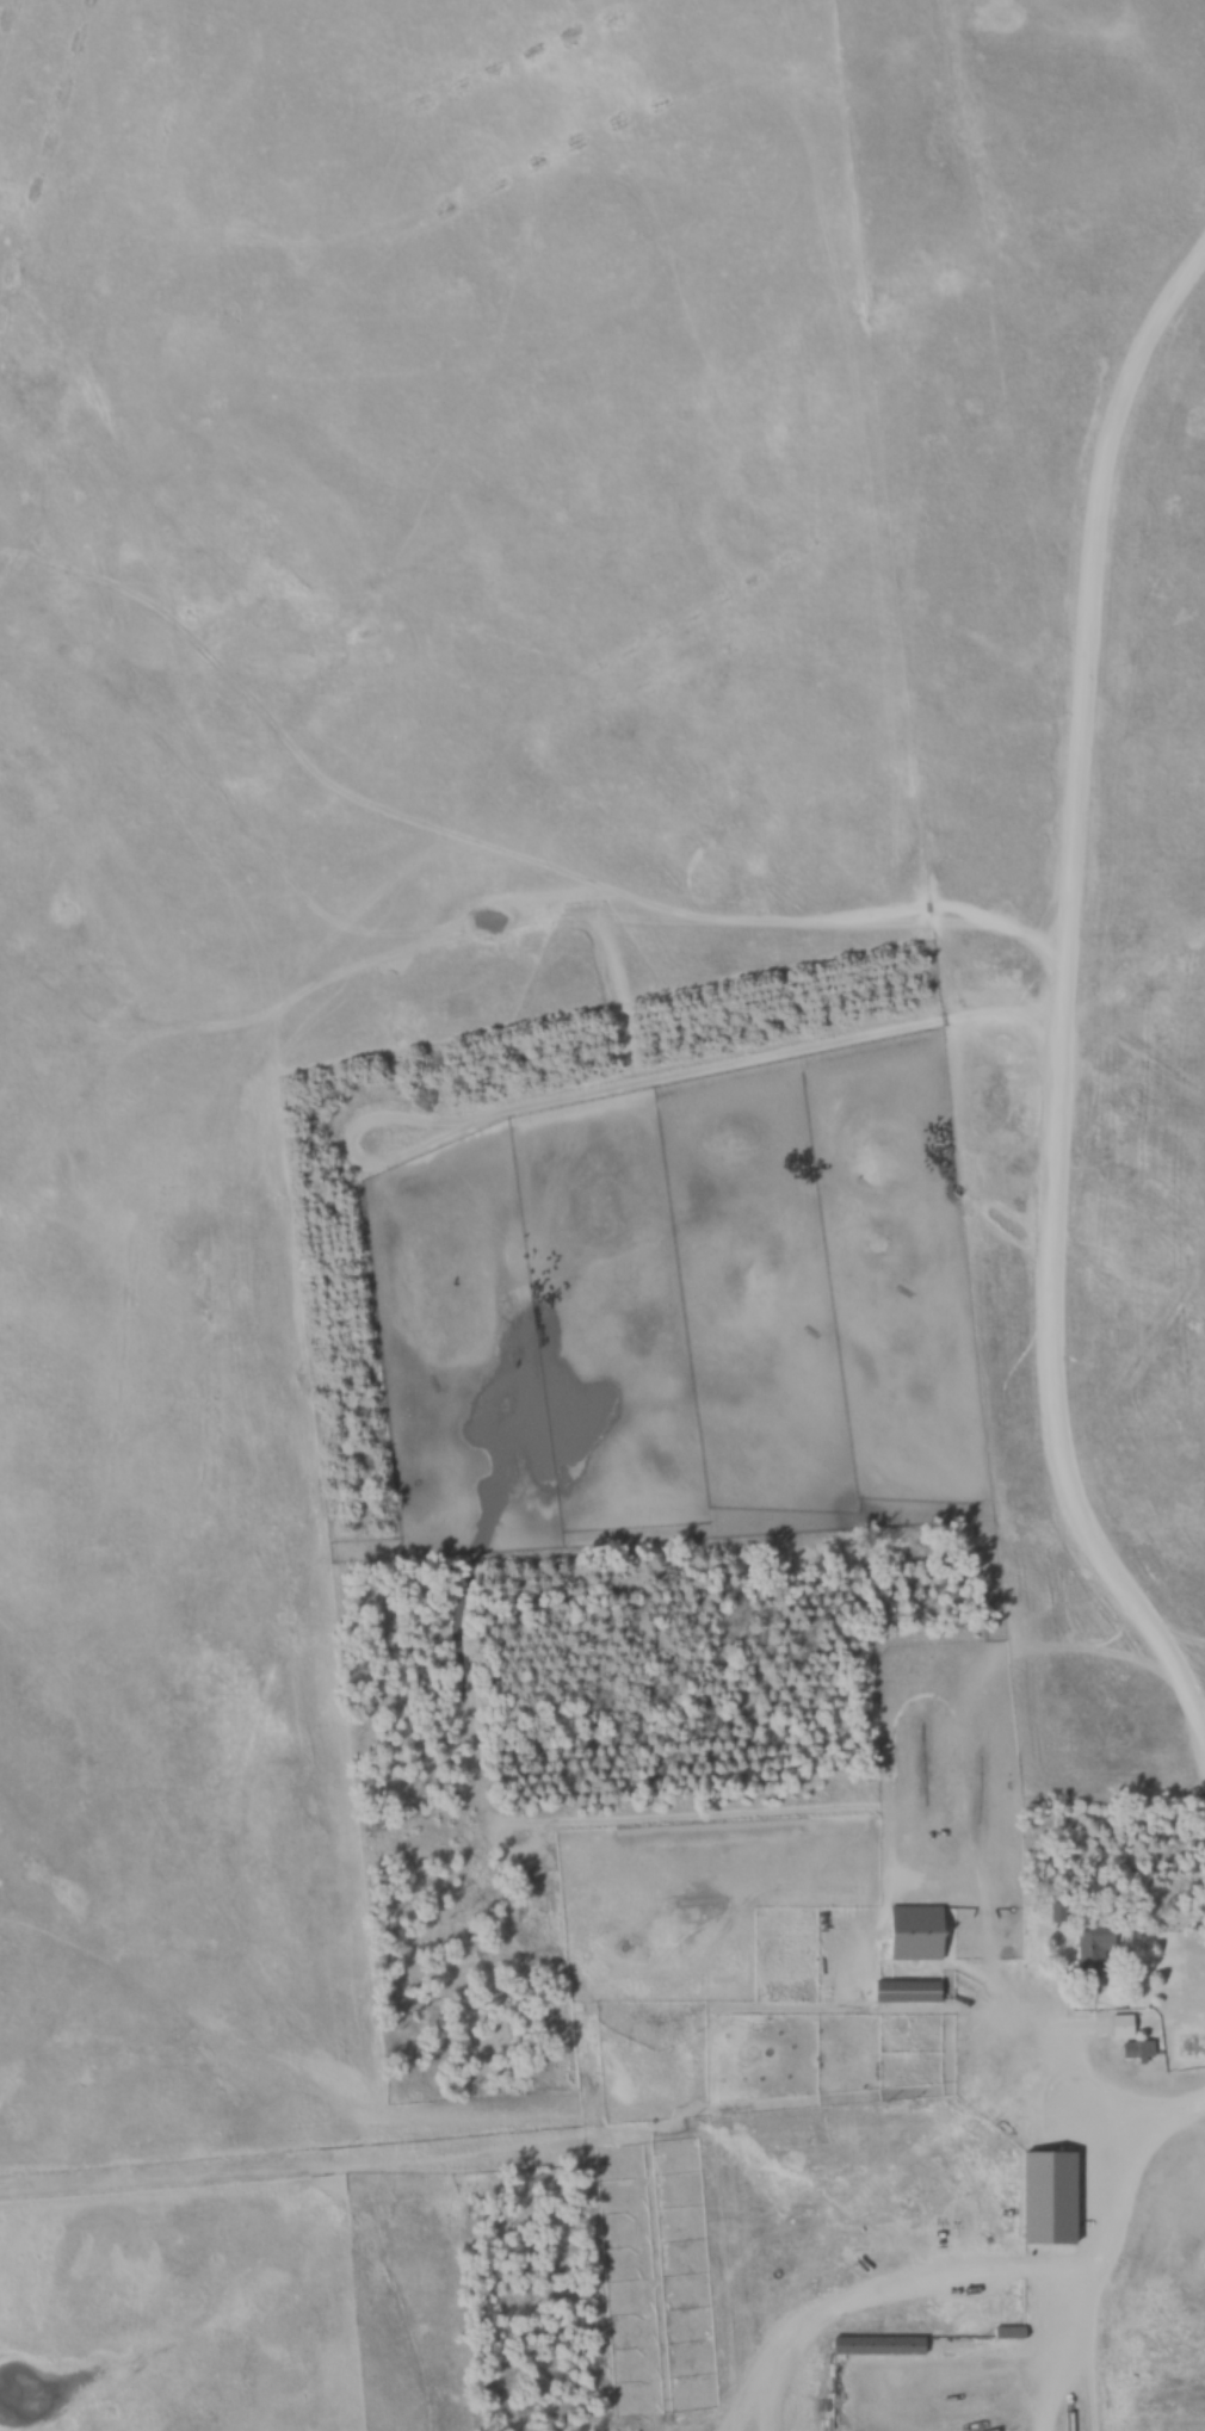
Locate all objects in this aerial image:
road: (1071, 967)
road: (1170, 1687)
building: (926, 1931)
building: (1099, 1947)
building: (1131, 2024)
road: (1089, 2103)
building: (1058, 2196)
building: (847, 2343)

